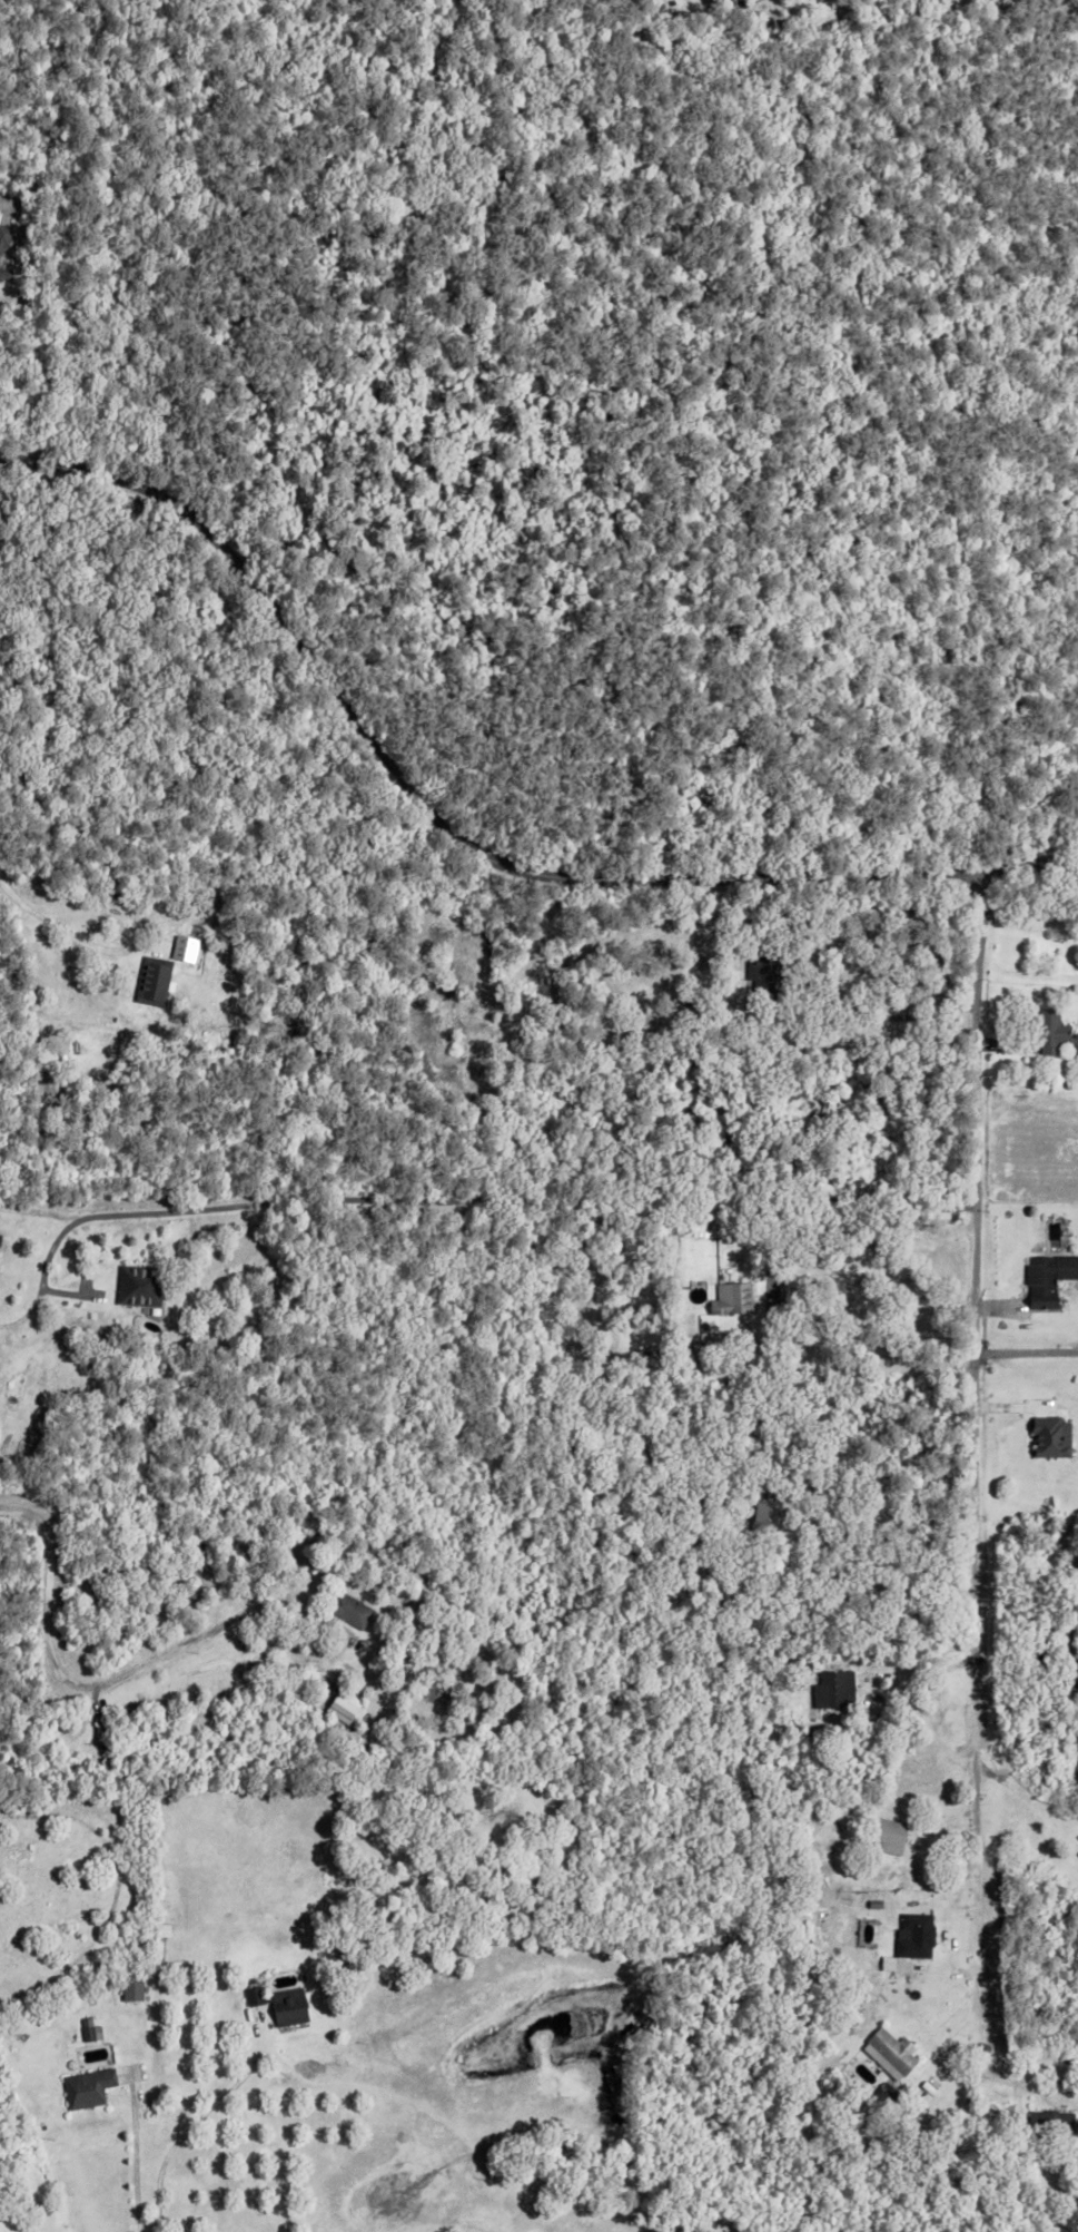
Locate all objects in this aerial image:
building: (901, 4)
building: (3, 232)
building: (3, 272)
road: (459, 844)
road: (40, 915)
building: (726, 932)
building: (151, 973)
building: (764, 974)
road: (897, 1017)
building: (1051, 1032)
road: (455, 1198)
building: (666, 1267)
building: (1044, 1279)
building: (137, 1286)
building: (767, 1290)
building: (729, 1298)
building: (669, 1320)
road: (861, 1327)
road: (1025, 1355)
building: (1048, 1436)
road: (975, 1463)
building: (764, 1513)
building: (714, 1545)
building: (348, 1611)
road: (103, 1681)
building: (831, 1690)
building: (338, 1708)
road: (930, 1720)
building: (97, 1734)
road: (1019, 1791)
building: (887, 1837)
building: (1076, 1854)
building: (871, 1905)
building: (833, 1925)
building: (900, 1938)
building: (156, 1955)
building: (129, 1992)
building: (250, 1995)
building: (286, 2006)
building: (88, 2031)
building: (887, 2053)
building: (85, 2088)
building: (882, 2096)
building: (2, 2100)
building: (1045, 2117)
road: (178, 2134)
road: (133, 2157)

